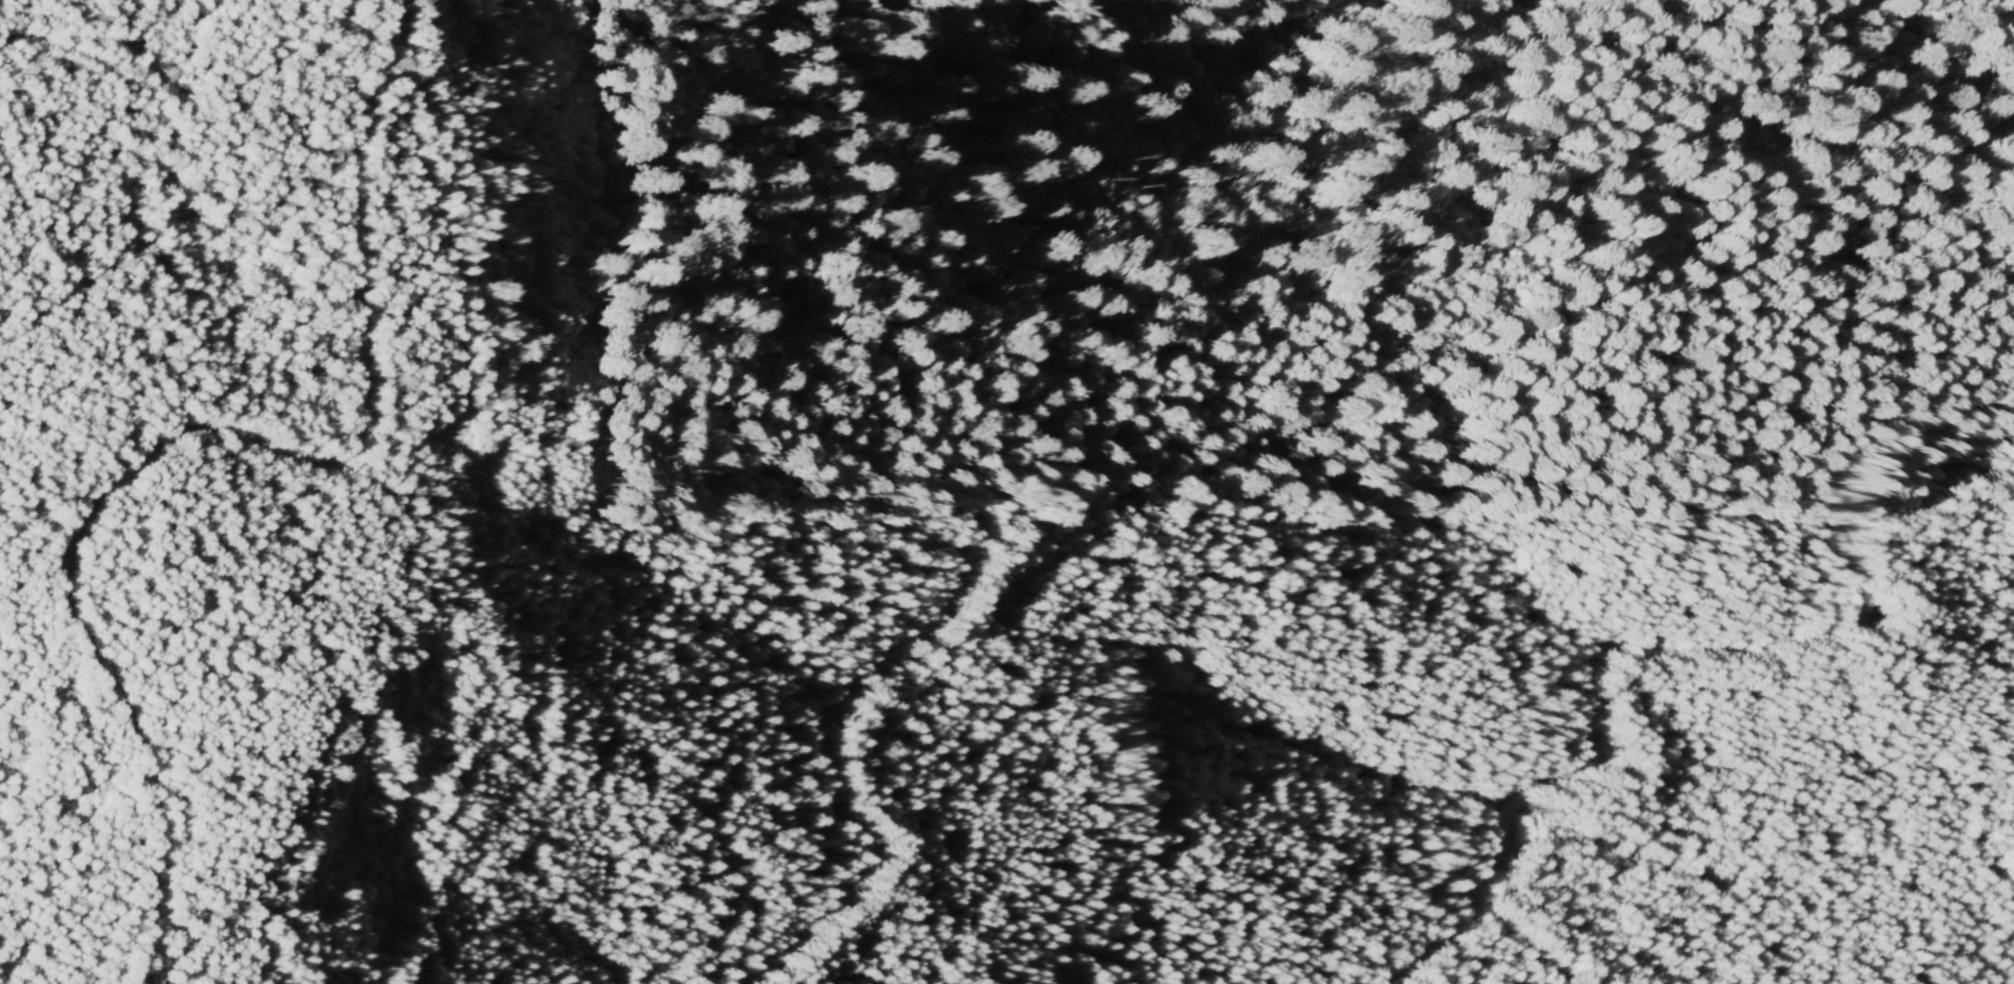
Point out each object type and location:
road: (253, 392)
road: (33, 877)

